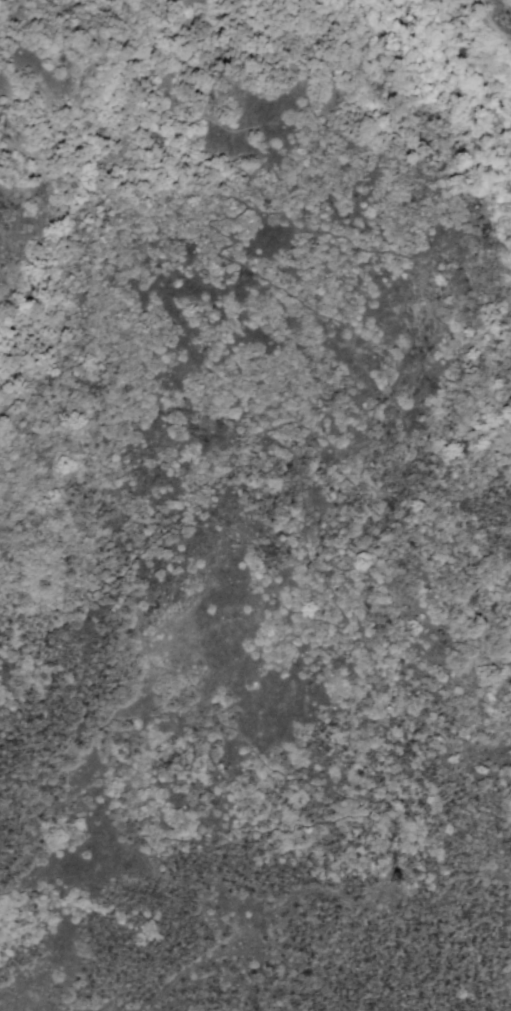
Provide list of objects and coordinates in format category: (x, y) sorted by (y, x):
road: (331, 0)
road: (496, 26)
road: (233, 199)
road: (239, 532)
power tower: (389, 895)

